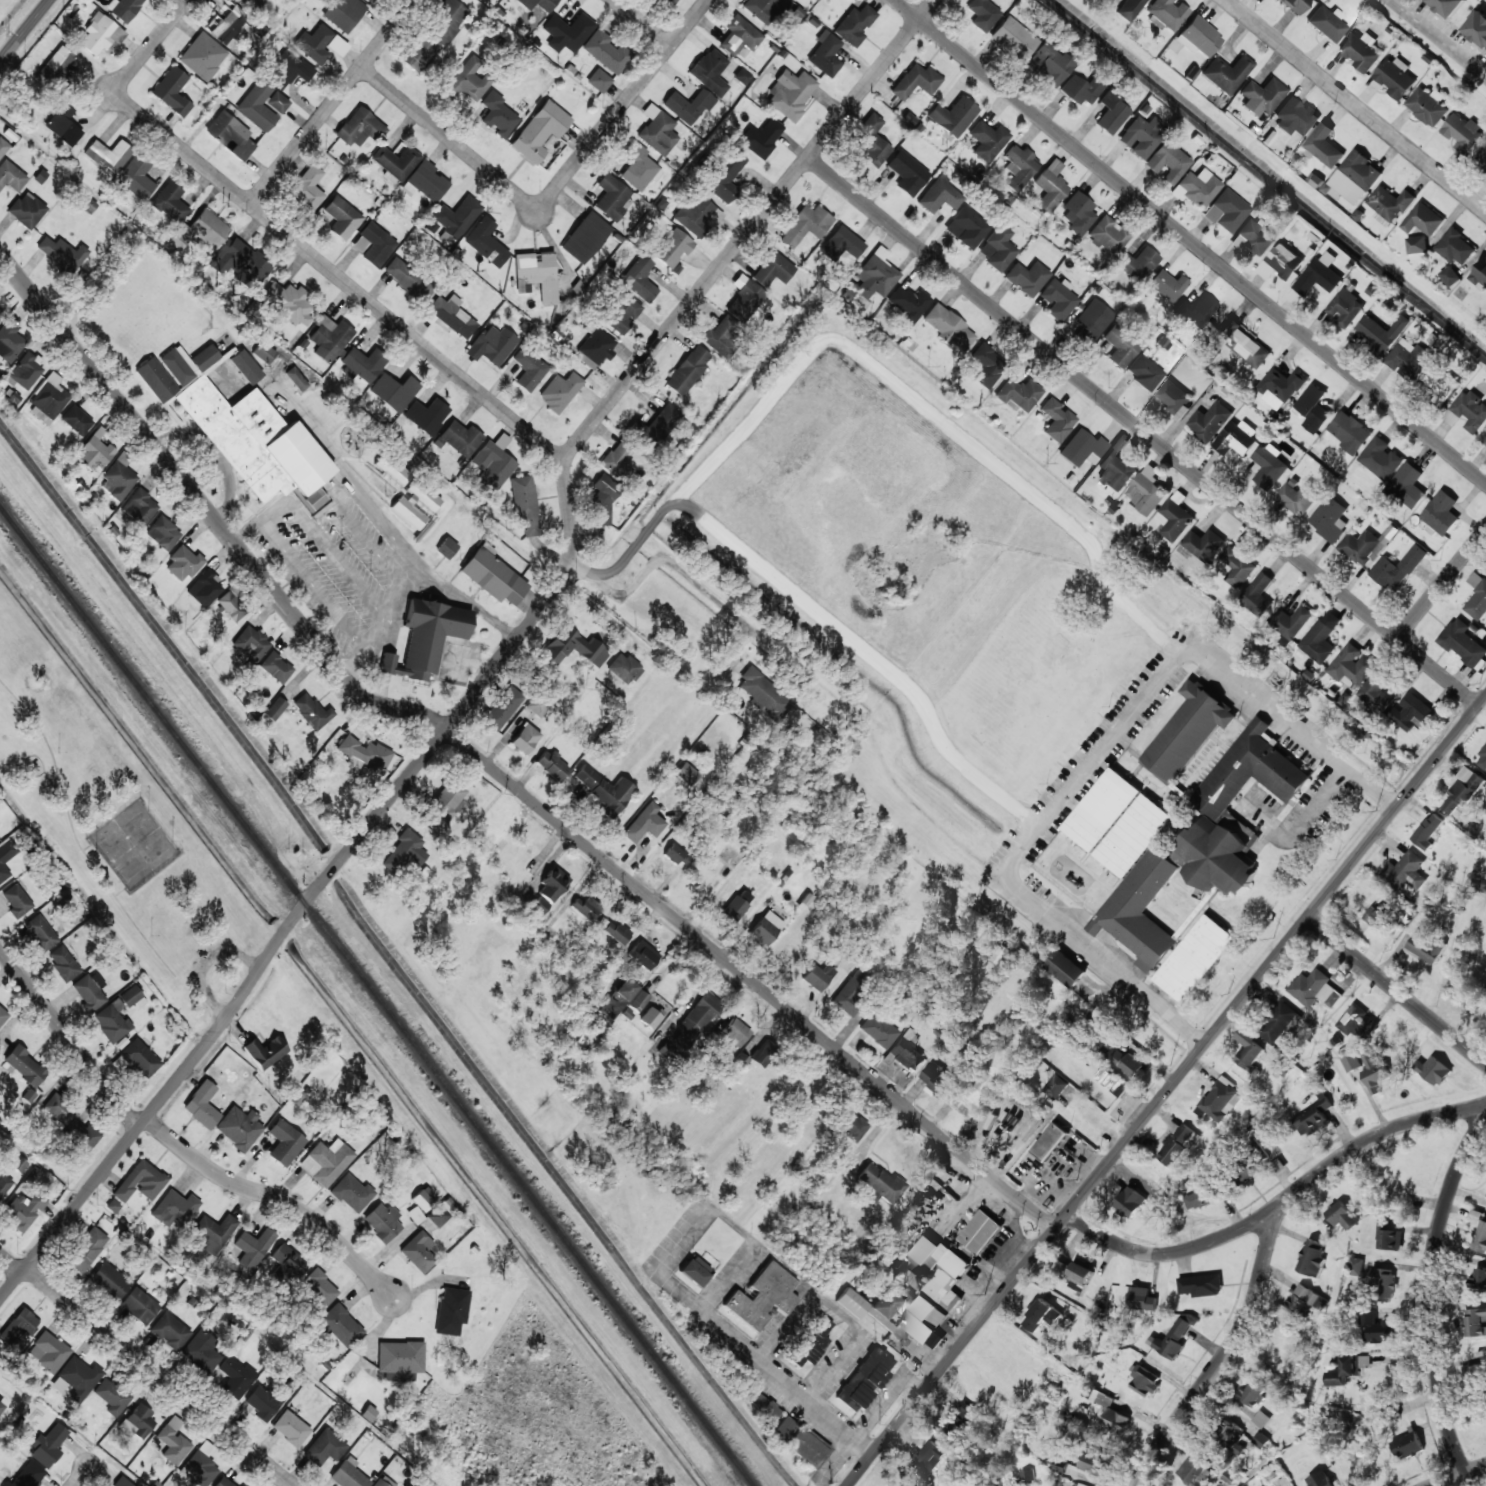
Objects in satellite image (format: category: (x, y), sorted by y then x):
building: (675, 0)
building: (371, 1)
building: (251, 3)
building: (538, 4)
building: (1294, 5)
building: (1449, 6)
building: (123, 8)
building: (1129, 9)
building: (765, 10)
building: (344, 13)
building: (1167, 13)
building: (982, 14)
building: (225, 22)
road: (643, 23)
building: (1327, 23)
building: (854, 25)
building: (1477, 28)
road: (25, 31)
building: (567, 33)
building: (99, 34)
building: (433, 35)
building: (739, 36)
building: (1198, 37)
road: (1440, 37)
building: (1013, 39)
building: (320, 45)
building: (1360, 50)
building: (606, 52)
building: (825, 54)
building: (203, 56)
building: (1049, 64)
building: (56, 65)
building: (287, 71)
building: (710, 72)
building: (1226, 73)
building: (742, 77)
building: (1395, 77)
building: (468, 80)
building: (599, 81)
building: (913, 83)
building: (1080, 89)
building: (172, 92)
building: (790, 94)
building: (1261, 97)
road: (334, 102)
building: (262, 105)
road: (623, 105)
road: (1355, 105)
building: (688, 106)
building: (1427, 106)
building: (1110, 113)
building: (498, 115)
building: (953, 116)
building: (1295, 118)
building: (63, 126)
building: (358, 127)
building: (657, 131)
building: (540, 132)
building: (1462, 132)
building: (230, 135)
building: (1141, 136)
building: (761, 138)
road: (450, 139)
building: (987, 141)
building: (872, 142)
building: (1324, 146)
building: (3, 147)
building: (108, 156)
building: (1482, 156)
building: (396, 162)
building: (1168, 162)
building: (638, 167)
building: (1020, 167)
building: (907, 173)
building: (725, 176)
building: (11, 177)
building: (136, 177)
building: (1355, 178)
building: (427, 181)
building: (309, 185)
building: (1050, 186)
building: (1196, 188)
building: (939, 196)
building: (611, 198)
building: (171, 203)
building: (1389, 205)
building: (27, 211)
building: (1226, 211)
building: (1078, 213)
building: (342, 217)
building: (457, 217)
building: (697, 217)
building: (1422, 219)
building: (806, 225)
building: (967, 228)
building: (206, 229)
building: (1108, 235)
building: (1254, 236)
building: (585, 237)
road: (295, 240)
road: (1191, 241)
building: (486, 243)
building: (1417, 244)
building: (373, 245)
building: (841, 245)
building: (1455, 247)
building: (673, 248)
building: (997, 248)
building: (63, 254)
building: (1282, 261)
building: (1137, 264)
building: (240, 265)
building: (773, 270)
building: (403, 275)
building: (537, 275)
building: (875, 275)
building: (1450, 276)
building: (1479, 276)
building: (1027, 278)
building: (1316, 278)
building: (639, 279)
building: (1167, 285)
building: (744, 299)
building: (1059, 299)
building: (288, 303)
building: (907, 303)
building: (1345, 308)
building: (1197, 311)
building: (1, 314)
building: (621, 314)
building: (452, 317)
building: (1092, 320)
building: (948, 327)
building: (1381, 333)
building: (723, 335)
building: (329, 338)
building: (9, 342)
building: (1243, 344)
building: (492, 346)
building: (1120, 346)
building: (594, 349)
building: (264, 353)
building: (1406, 355)
building: (175, 362)
building: (364, 365)
building: (985, 366)
building: (246, 367)
building: (529, 369)
building: (25, 370)
building: (687, 371)
building: (155, 374)
building: (1441, 383)
building: (1280, 387)
building: (394, 392)
building: (559, 392)
building: (1019, 394)
building: (1174, 396)
building: (48, 401)
building: (1313, 409)
building: (1469, 411)
building: (426, 416)
building: (76, 420)
building: (1056, 420)
building: (1210, 421)
building: (658, 425)
building: (1350, 432)
road: (1145, 433)
building: (1236, 438)
building: (461, 439)
building: (1485, 441)
building: (1082, 448)
building: (94, 452)
building: (295, 455)
building: (1381, 459)
building: (494, 461)
building: (618, 461)
building: (1269, 466)
building: (1116, 470)
building: (118, 478)
building: (1409, 485)
building: (1147, 491)
building: (405, 494)
building: (1298, 496)
building: (602, 502)
building: (524, 504)
building: (140, 508)
building: (1441, 513)
building: (1173, 517)
building: (1330, 519)
building: (163, 533)
building: (1202, 545)
building: (447, 548)
building: (1364, 548)
building: (183, 564)
building: (1235, 567)
building: (1398, 568)
building: (493, 577)
road: (1442, 584)
building: (205, 589)
building: (1257, 595)
building: (1477, 597)
building: (231, 607)
building: (1292, 621)
building: (426, 638)
building: (1321, 638)
building: (1462, 642)
building: (251, 644)
building: (573, 648)
road: (500, 659)
building: (1352, 666)
building: (276, 667)
building: (624, 669)
building: (1376, 692)
building: (764, 694)
building: (539, 703)
building: (275, 709)
building: (502, 709)
building: (312, 712)
building: (1411, 713)
building: (1188, 731)
building: (525, 739)
building: (363, 753)
building: (552, 765)
road: (497, 771)
building: (686, 774)
building: (604, 789)
building: (1460, 792)
building: (450, 799)
building: (1214, 807)
building: (644, 823)
building: (1089, 825)
park: (115, 829)
building: (1428, 830)
building: (405, 851)
building: (676, 855)
building: (6, 858)
building: (1407, 873)
building: (1484, 880)
building: (1138, 883)
building: (553, 884)
building: (16, 901)
road: (1030, 904)
building: (737, 905)
building: (539, 906)
building: (586, 908)
building: (1379, 919)
building: (764, 930)
building: (616, 932)
building: (41, 933)
building: (1425, 947)
building: (644, 955)
building: (1195, 958)
building: (65, 963)
building: (1066, 969)
building: (817, 977)
building: (1315, 989)
building: (90, 991)
road: (1398, 991)
building: (132, 997)
building: (850, 997)
railway: (376, 998)
building: (619, 999)
building: (639, 1002)
building: (3, 1016)
building: (651, 1017)
building: (697, 1018)
building: (112, 1022)
building: (1277, 1022)
building: (1358, 1022)
building: (878, 1030)
building: (735, 1033)
building: (1248, 1049)
building: (265, 1052)
building: (763, 1053)
building: (907, 1055)
building: (140, 1059)
building: (740, 1061)
building: (1126, 1062)
building: (1352, 1062)
building: (24, 1066)
building: (1434, 1071)
building: (1375, 1073)
building: (938, 1080)
building: (1112, 1082)
building: (1056, 1087)
road: (1169, 1095)
building: (29, 1096)
building: (298, 1098)
building: (1220, 1102)
building: (202, 1105)
building: (59, 1109)
building: (1313, 1117)
building: (852, 1127)
building: (239, 1128)
building: (81, 1136)
building: (1050, 1142)
building: (284, 1143)
road: (179, 1144)
building: (1178, 1146)
building: (326, 1162)
building: (19, 1164)
building: (1277, 1166)
building: (1248, 1174)
building: (141, 1182)
building: (880, 1184)
building: (4, 1185)
building: (352, 1193)
building: (1200, 1198)
building: (1130, 1202)
road: (1281, 1204)
building: (421, 1205)
building: (175, 1209)
building: (24, 1211)
building: (1342, 1215)
building: (438, 1217)
building: (382, 1222)
building: (980, 1232)
building: (213, 1233)
building: (1389, 1237)
building: (1481, 1237)
building: (253, 1248)
building: (87, 1250)
building: (418, 1252)
building: (1312, 1258)
building: (288, 1261)
building: (1355, 1266)
building: (932, 1270)
building: (696, 1271)
building: (1080, 1277)
building: (1479, 1279)
building: (110, 1281)
building: (1384, 1282)
building: (1200, 1285)
building: (319, 1288)
road: (843, 1292)
building: (764, 1297)
building: (1142, 1299)
building: (1306, 1301)
road: (1433, 1301)
building: (868, 1305)
building: (140, 1306)
building: (452, 1311)
building: (1042, 1315)
building: (926, 1322)
building: (1475, 1322)
building: (19, 1326)
building: (341, 1326)
building: (1377, 1327)
building: (170, 1331)
building: (1174, 1337)
building: (814, 1340)
building: (202, 1351)
building: (48, 1352)
road: (1225, 1357)
building: (400, 1360)
road: (147, 1366)
building: (1347, 1370)
building: (1477, 1374)
building: (236, 1377)
building: (76, 1379)
building: (865, 1380)
building: (1145, 1381)
building: (1251, 1395)
building: (112, 1397)
building: (1101, 1398)
building: (264, 1403)
building: (1, 1408)
building: (764, 1408)
building: (1261, 1419)
building: (961, 1421)
building: (1117, 1421)
building: (138, 1423)
building: (784, 1428)
building: (290, 1429)
building: (1232, 1440)
building: (172, 1441)
building: (48, 1446)
building: (1407, 1446)
building: (806, 1447)
building: (325, 1448)
building: (928, 1458)
building: (1091, 1461)
building: (1196, 1473)
building: (348, 1474)
road: (1462, 1474)
building: (27, 1475)
building: (1027, 1475)
road: (81, 1477)
building: (1320, 1479)
building: (122, 1482)
building: (223, 1482)
building: (379, 1483)
building: (1018, 1485)

